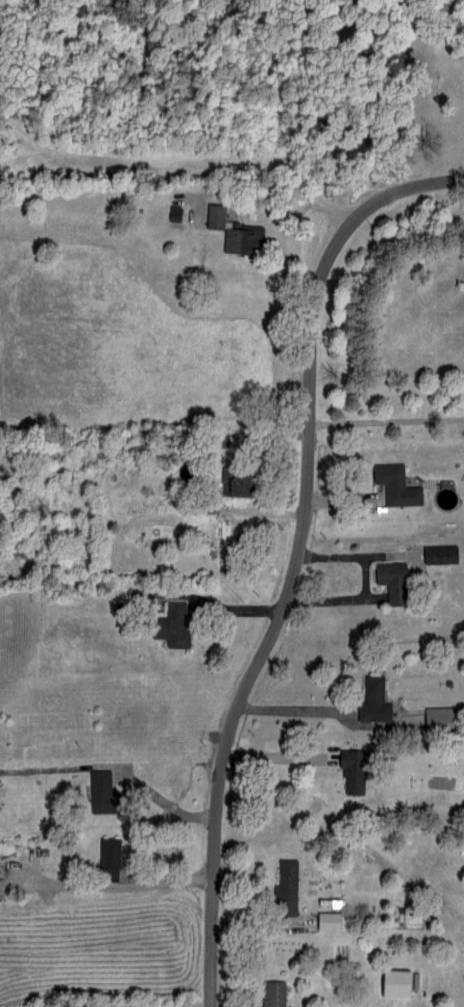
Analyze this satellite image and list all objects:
road: (283, 187)
building: (213, 216)
building: (239, 238)
road: (387, 417)
building: (394, 484)
building: (232, 485)
building: (438, 553)
road: (299, 563)
building: (389, 580)
road: (369, 582)
building: (169, 624)
building: (371, 700)
road: (290, 707)
building: (436, 718)
road: (275, 754)
building: (351, 771)
building: (99, 791)
road: (178, 807)
building: (107, 858)
road: (105, 882)
building: (283, 887)
building: (326, 920)
building: (392, 981)
building: (271, 993)

